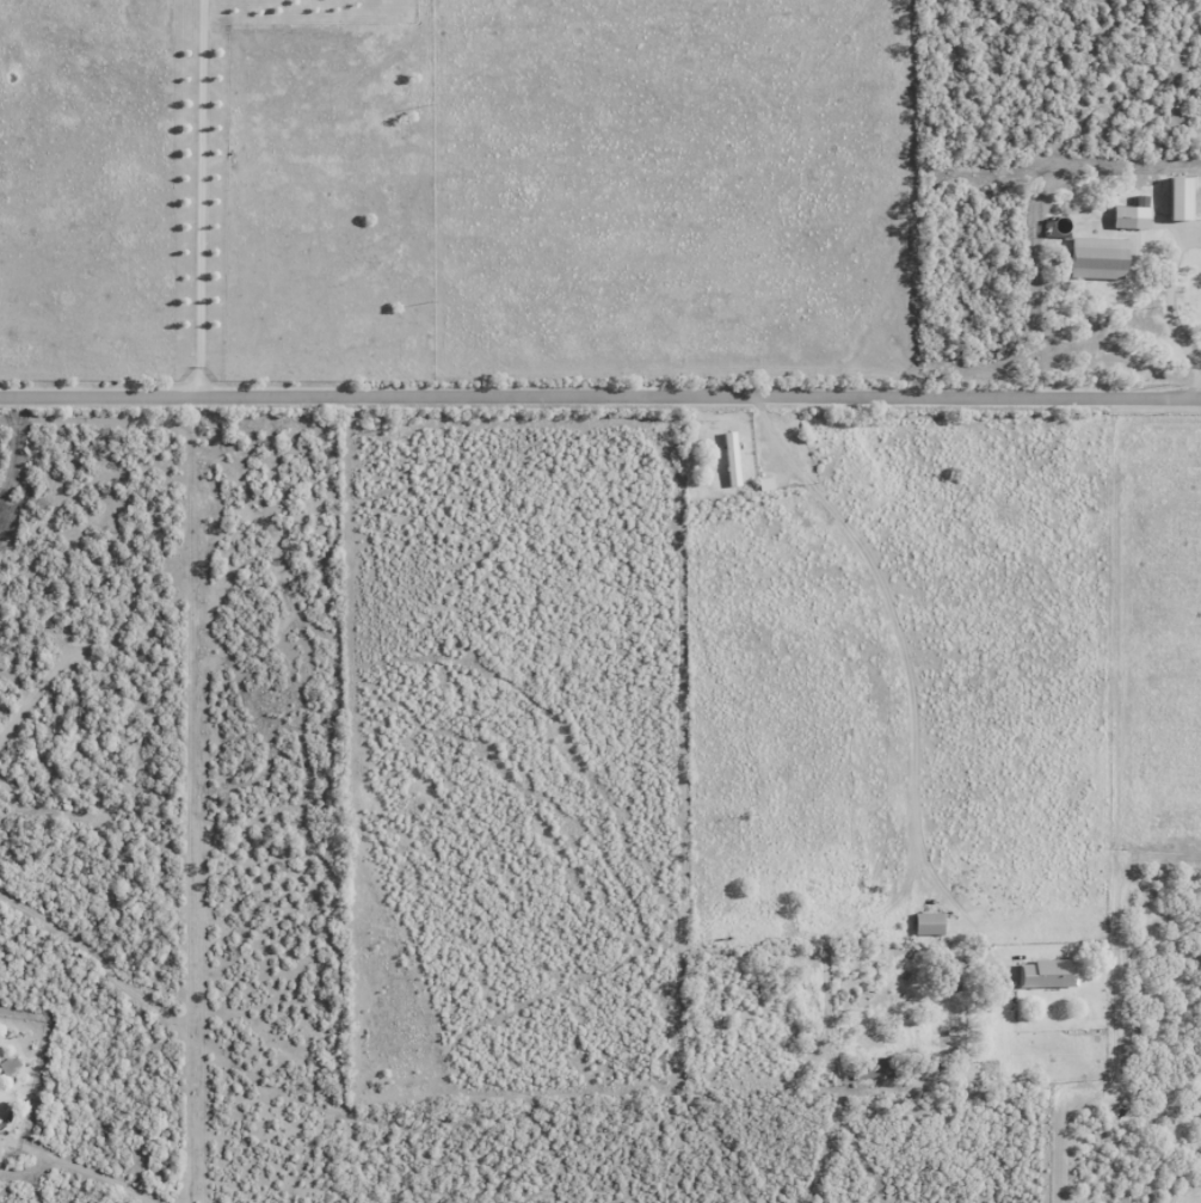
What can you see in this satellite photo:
road: (203, 197)
building: (1122, 219)
building: (1095, 251)
road: (1169, 315)
road: (599, 397)
building: (731, 461)
road: (928, 810)
building: (926, 926)
building: (1046, 976)
building: (957, 978)

